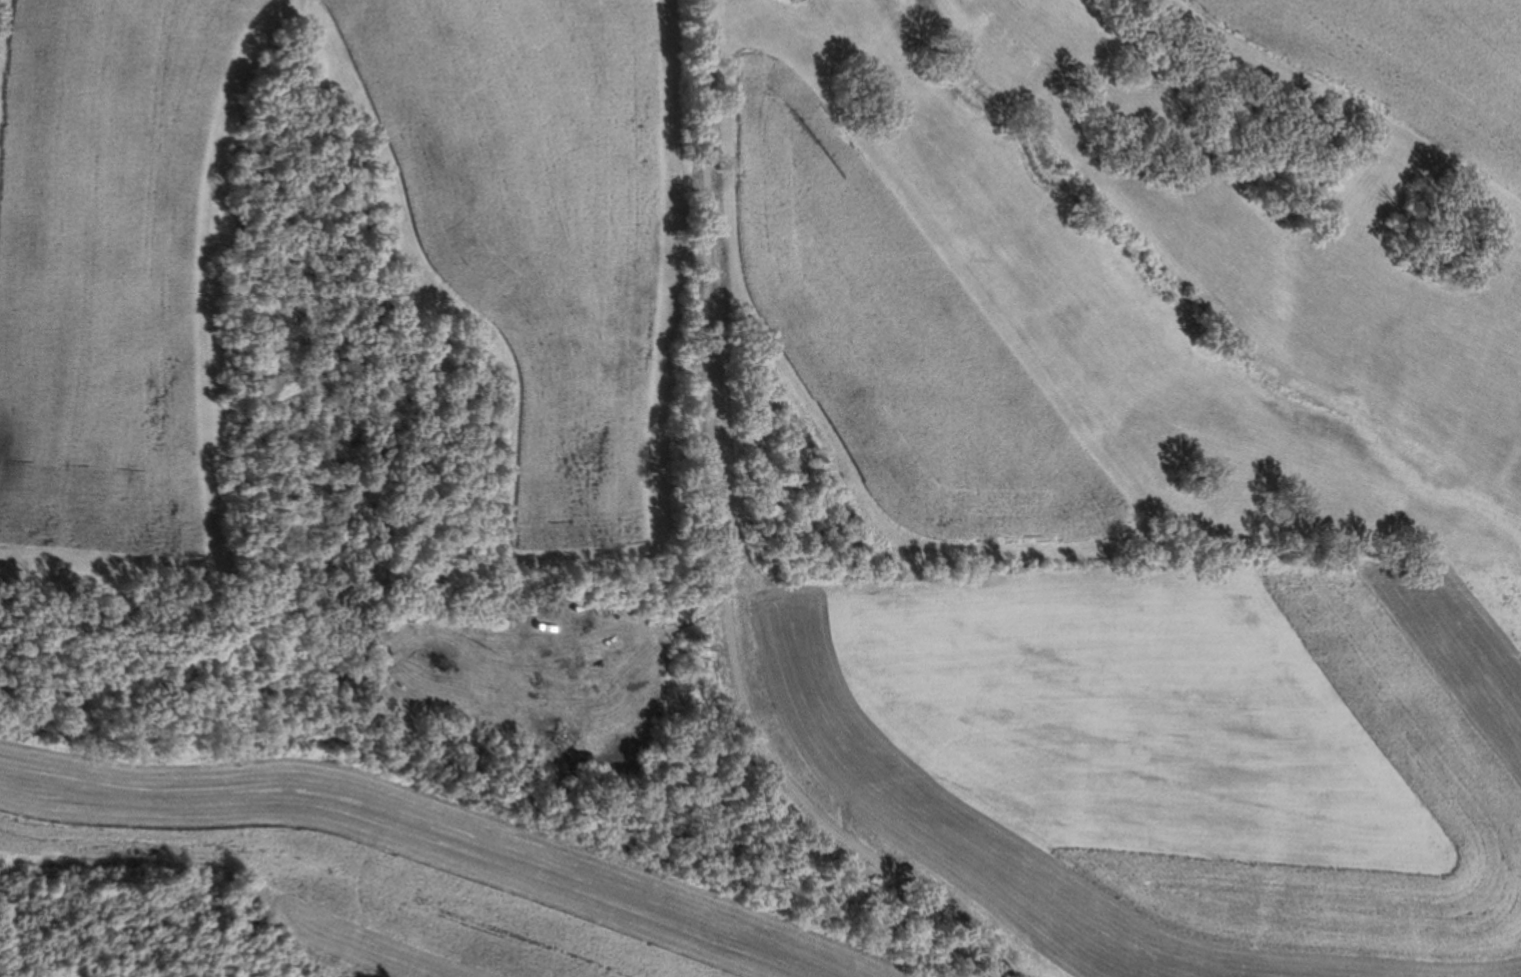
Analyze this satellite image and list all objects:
road: (721, 542)

